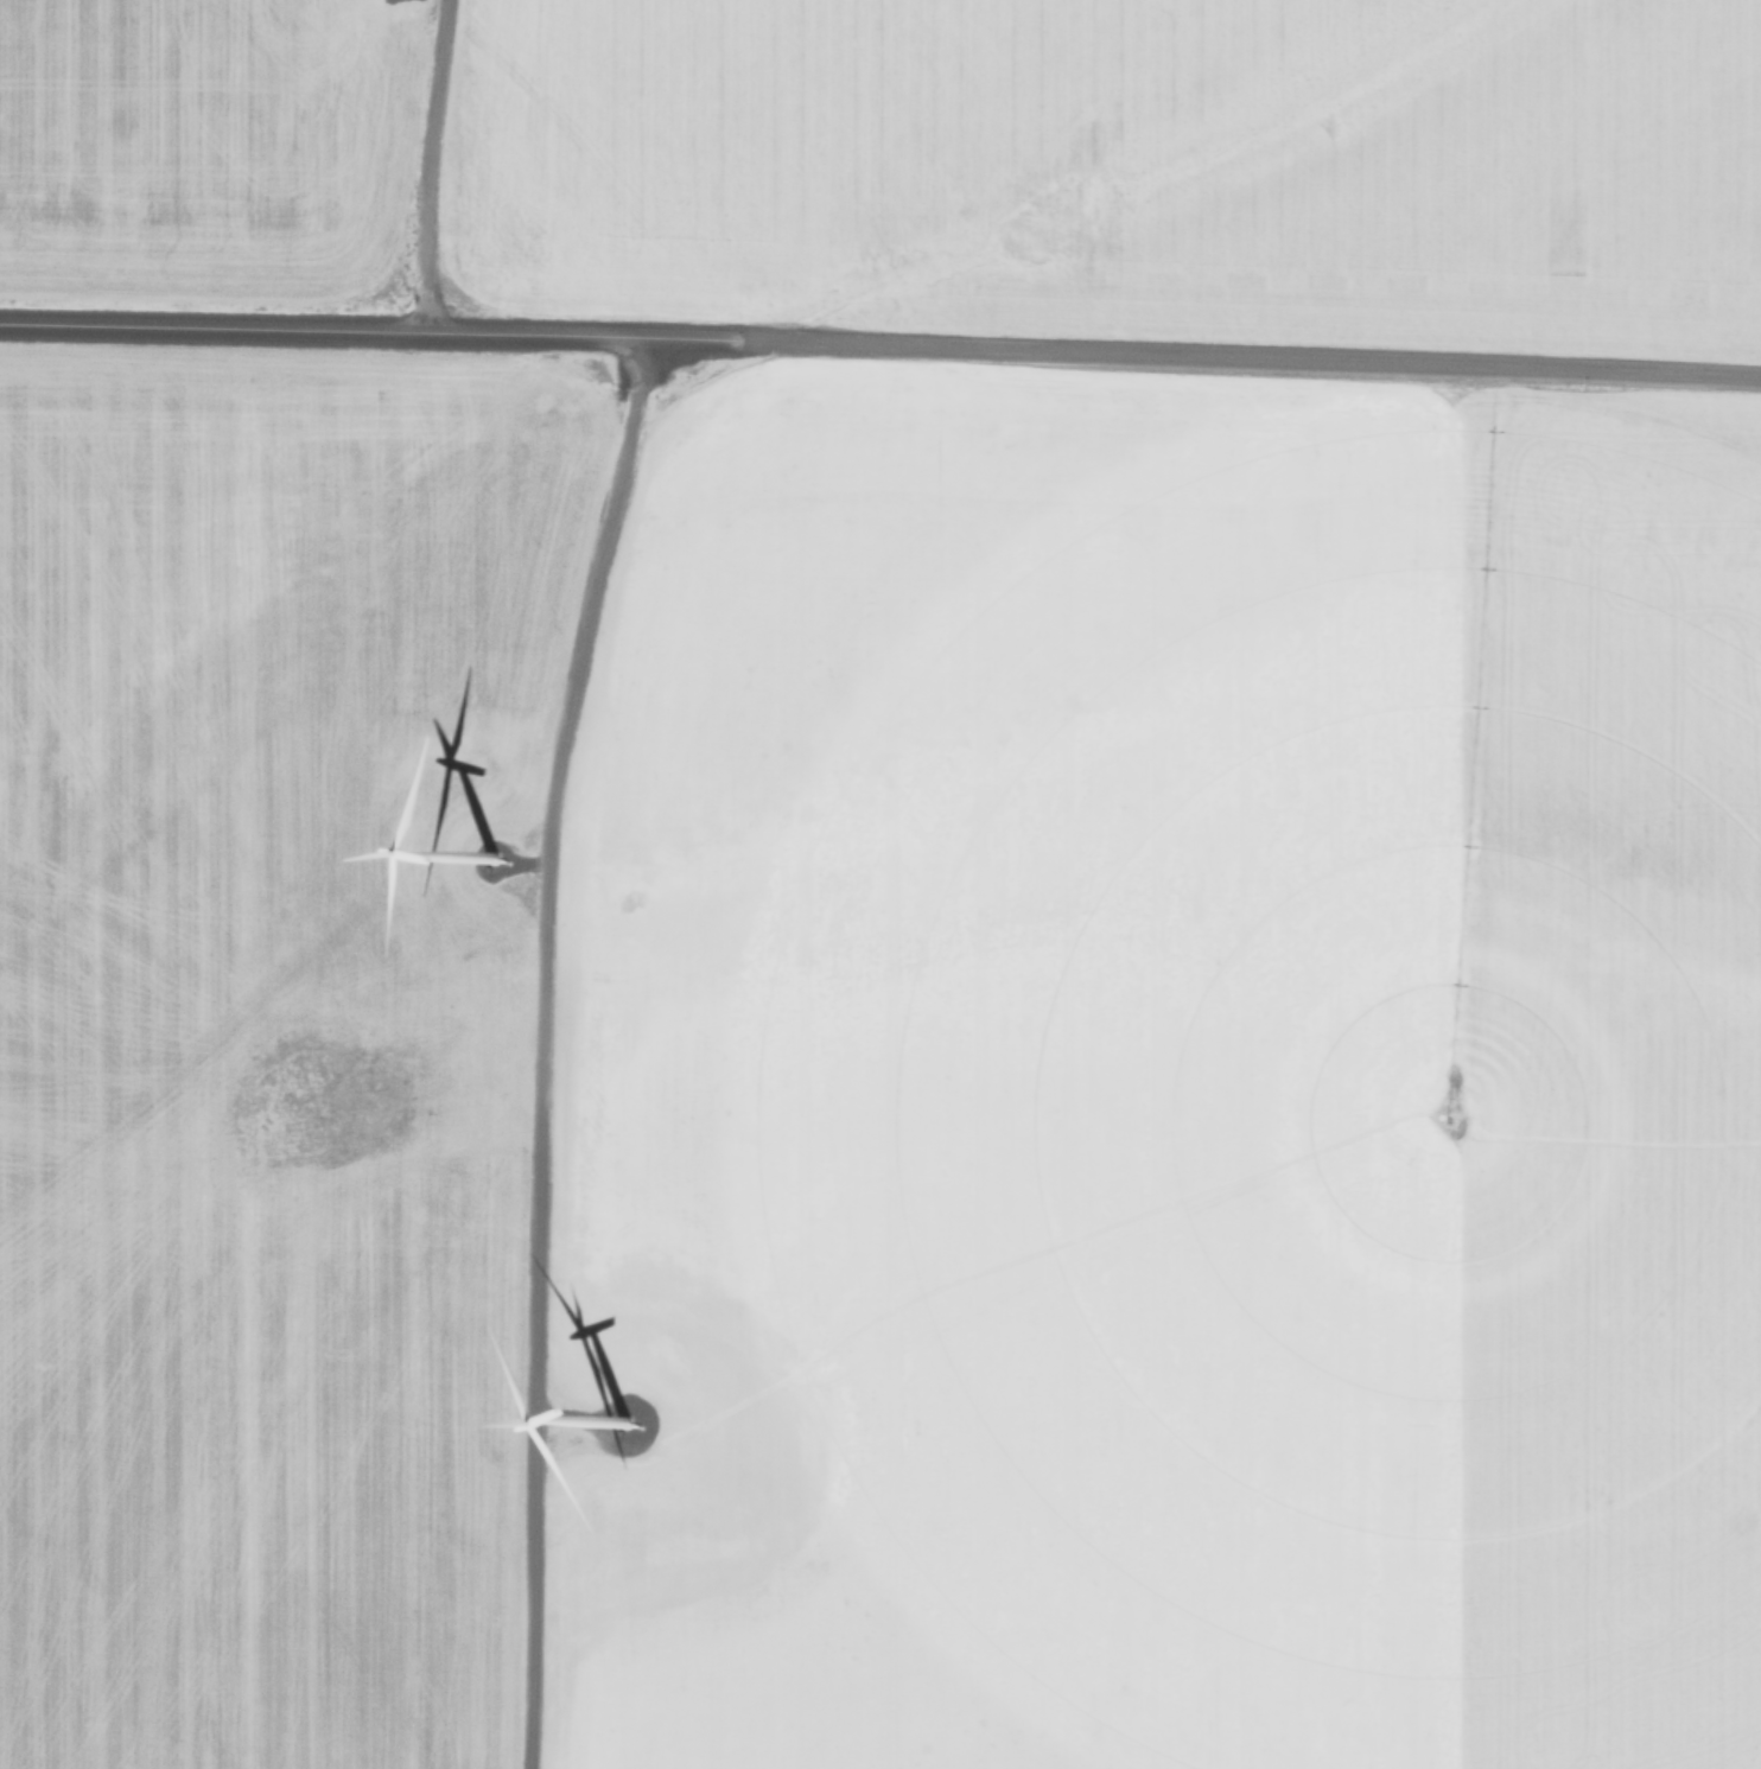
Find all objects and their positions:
road: (418, 163)
road: (371, 327)
road: (1252, 352)
wind turbine: (479, 873)
road: (536, 1046)
wind turbine: (615, 1465)

